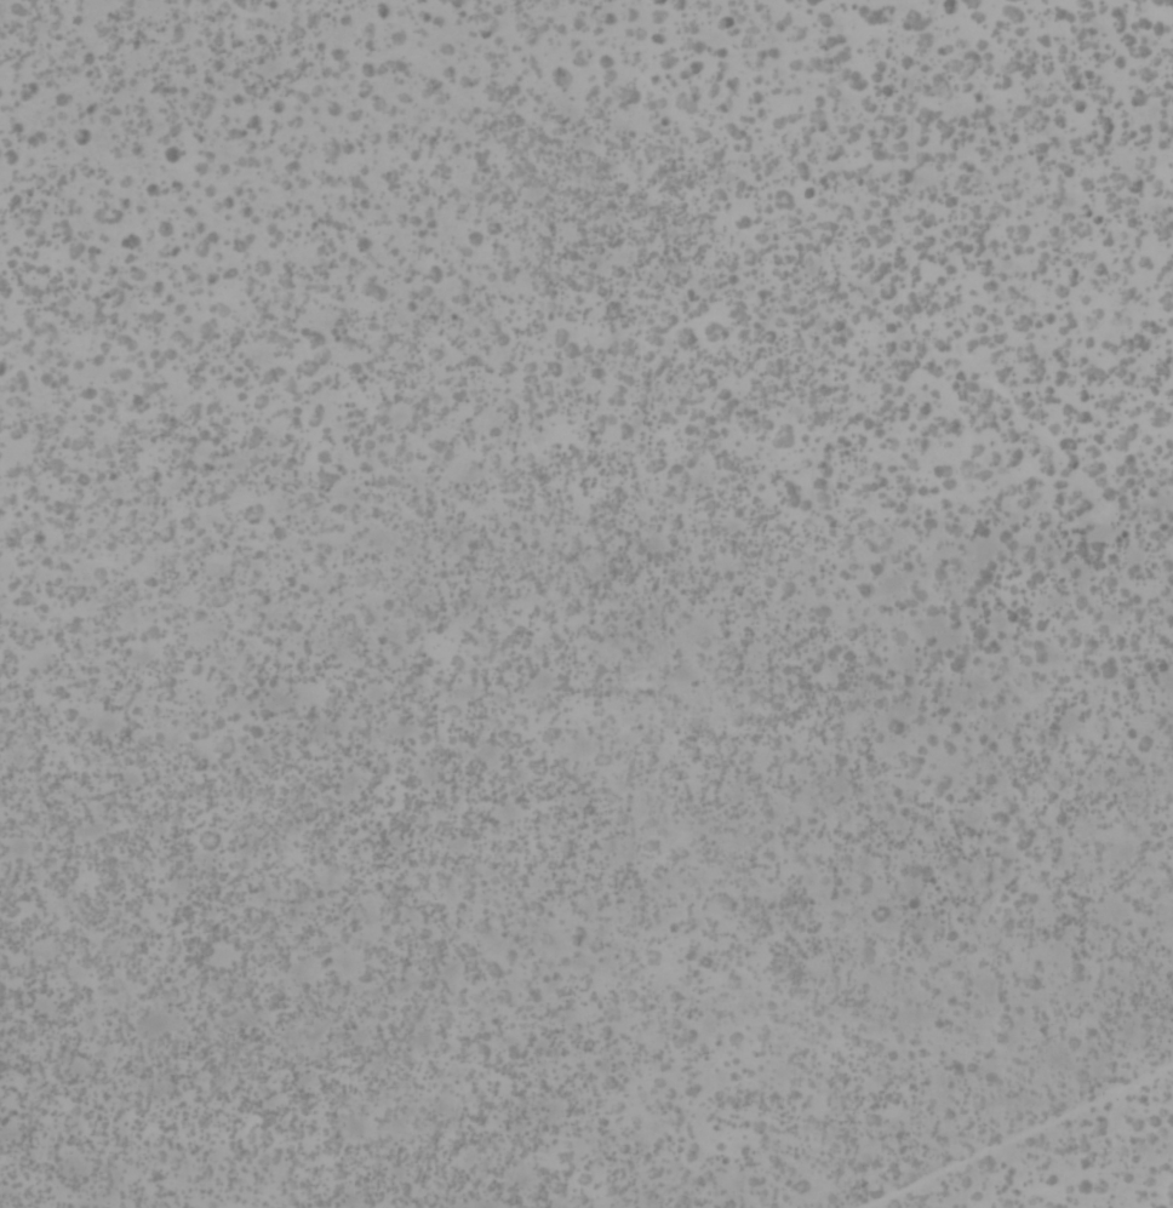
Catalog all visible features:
road: (1011, 1133)

